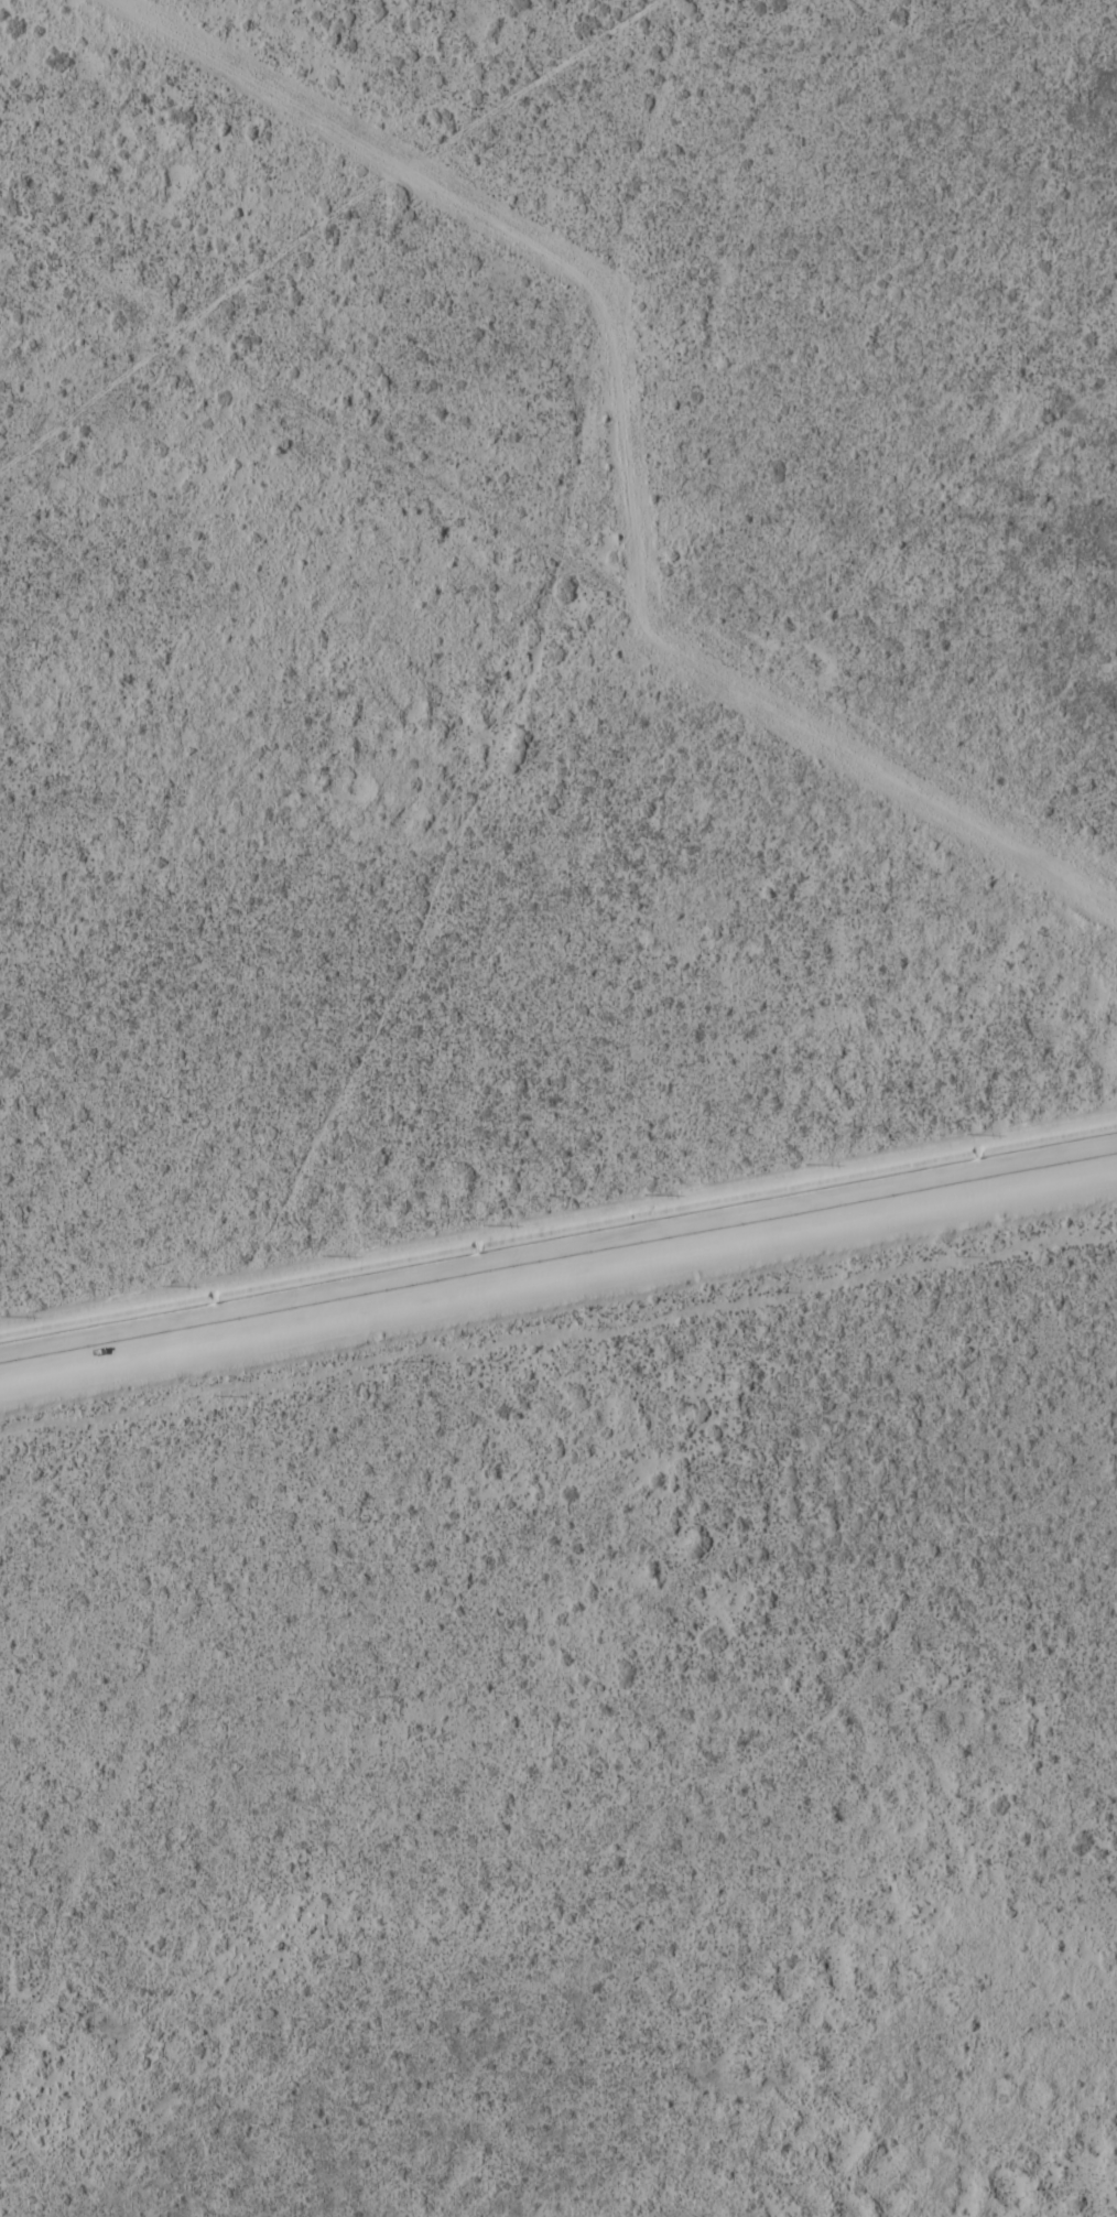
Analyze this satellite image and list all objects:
road: (301, 201)

